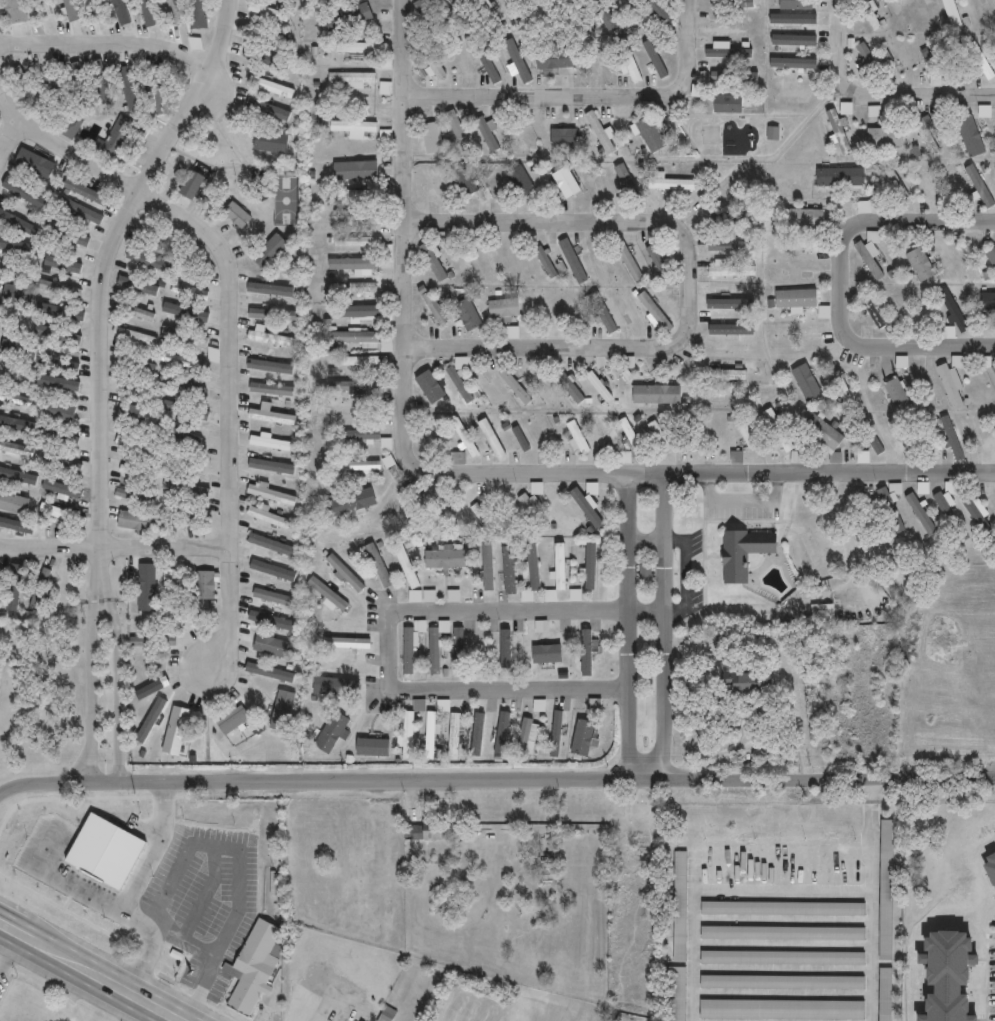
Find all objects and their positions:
road: (403, 2)
building: (735, 3)
building: (796, 4)
building: (100, 7)
building: (50, 8)
building: (461, 9)
building: (658, 10)
building: (146, 11)
building: (173, 12)
building: (428, 12)
building: (491, 12)
building: (520, 13)
building: (543, 13)
building: (572, 13)
building: (870, 13)
building: (198, 14)
building: (953, 15)
building: (346, 18)
building: (272, 38)
road: (108, 43)
building: (357, 47)
building: (728, 52)
building: (869, 58)
building: (896, 58)
building: (555, 59)
building: (981, 61)
building: (517, 62)
building: (791, 62)
building: (945, 63)
building: (431, 65)
building: (734, 76)
building: (351, 78)
building: (80, 84)
building: (26, 88)
building: (55, 88)
road: (218, 88)
building: (158, 90)
road: (588, 97)
road: (876, 97)
building: (728, 103)
building: (875, 110)
building: (358, 125)
building: (71, 127)
building: (601, 131)
building: (838, 131)
building: (923, 131)
building: (458, 132)
building: (773, 132)
building: (968, 132)
building: (486, 133)
building: (651, 133)
building: (269, 136)
building: (516, 136)
building: (564, 136)
building: (431, 137)
building: (885, 137)
building: (119, 138)
road: (12, 141)
building: (41, 171)
building: (840, 177)
building: (521, 181)
building: (566, 181)
building: (464, 182)
building: (434, 183)
building: (670, 183)
building: (897, 183)
building: (191, 184)
building: (924, 185)
building: (980, 185)
building: (955, 187)
building: (360, 194)
building: (864, 206)
building: (84, 210)
building: (357, 216)
building: (738, 217)
building: (804, 218)
road: (883, 220)
road: (589, 222)
road: (402, 223)
building: (70, 234)
building: (158, 234)
building: (366, 245)
building: (732, 246)
building: (23, 249)
building: (270, 250)
road: (223, 253)
building: (870, 253)
building: (991, 257)
building: (627, 259)
building: (658, 259)
building: (432, 260)
building: (490, 260)
building: (573, 260)
building: (546, 261)
building: (351, 264)
building: (921, 264)
building: (730, 270)
road: (103, 285)
building: (138, 285)
building: (56, 288)
building: (360, 289)
building: (13, 294)
building: (795, 300)
building: (432, 304)
building: (985, 304)
building: (897, 307)
building: (504, 309)
building: (545, 310)
building: (954, 310)
building: (184, 311)
building: (355, 311)
building: (134, 312)
building: (602, 312)
building: (871, 313)
building: (271, 314)
building: (468, 314)
building: (513, 332)
building: (62, 335)
building: (139, 336)
building: (183, 337)
building: (270, 339)
building: (363, 340)
building: (17, 349)
road: (557, 349)
road: (904, 349)
building: (734, 353)
building: (214, 354)
building: (363, 362)
building: (137, 364)
building: (994, 369)
building: (722, 375)
building: (459, 385)
building: (542, 385)
building: (802, 385)
building: (951, 385)
building: (353, 386)
building: (514, 386)
building: (599, 386)
building: (571, 388)
building: (842, 388)
building: (270, 389)
building: (135, 391)
building: (894, 392)
building: (656, 395)
building: (358, 408)
building: (58, 411)
building: (132, 414)
building: (270, 416)
building: (777, 432)
building: (746, 433)
building: (823, 434)
building: (361, 435)
building: (629, 435)
building: (603, 436)
building: (658, 436)
building: (692, 436)
building: (465, 438)
building: (577, 438)
building: (871, 438)
building: (268, 442)
building: (515, 442)
building: (134, 446)
building: (737, 457)
building: (459, 458)
building: (795, 458)
building: (184, 462)
building: (61, 464)
building: (356, 465)
building: (270, 468)
road: (687, 475)
building: (185, 489)
building: (417, 489)
building: (270, 494)
building: (134, 497)
building: (533, 497)
building: (350, 503)
building: (423, 504)
building: (11, 506)
building: (532, 511)
building: (891, 511)
building: (976, 511)
building: (423, 512)
building: (183, 513)
building: (481, 514)
building: (921, 514)
building: (61, 515)
building: (268, 517)
building: (861, 519)
building: (135, 522)
road: (646, 539)
building: (273, 544)
road: (114, 545)
building: (744, 553)
building: (445, 559)
building: (379, 566)
building: (407, 566)
building: (589, 566)
building: (645, 571)
building: (557, 574)
building: (530, 575)
building: (210, 585)
building: (41, 589)
building: (166, 595)
building: (327, 595)
building: (271, 598)
road: (230, 610)
building: (823, 614)
road: (628, 628)
road: (663, 628)
road: (388, 631)
building: (341, 635)
building: (151, 642)
building: (436, 645)
building: (268, 647)
building: (411, 647)
building: (506, 649)
building: (458, 652)
building: (586, 652)
building: (741, 684)
building: (332, 686)
road: (117, 690)
road: (92, 691)
building: (233, 720)
building: (332, 731)
building: (586, 731)
building: (429, 734)
building: (525, 734)
building: (407, 735)
building: (453, 735)
road: (496, 781)
road: (173, 796)
building: (636, 832)
building: (424, 833)
building: (104, 851)
road: (157, 863)
building: (989, 863)
building: (884, 887)
road: (94, 892)
road: (772, 892)
building: (681, 905)
building: (783, 907)
road: (8, 930)
building: (782, 932)
road: (23, 939)
building: (783, 956)
building: (253, 966)
building: (938, 975)
road: (143, 978)
building: (782, 981)
road: (100, 982)
building: (675, 993)
building: (883, 993)
building: (782, 1009)
building: (388, 1014)

